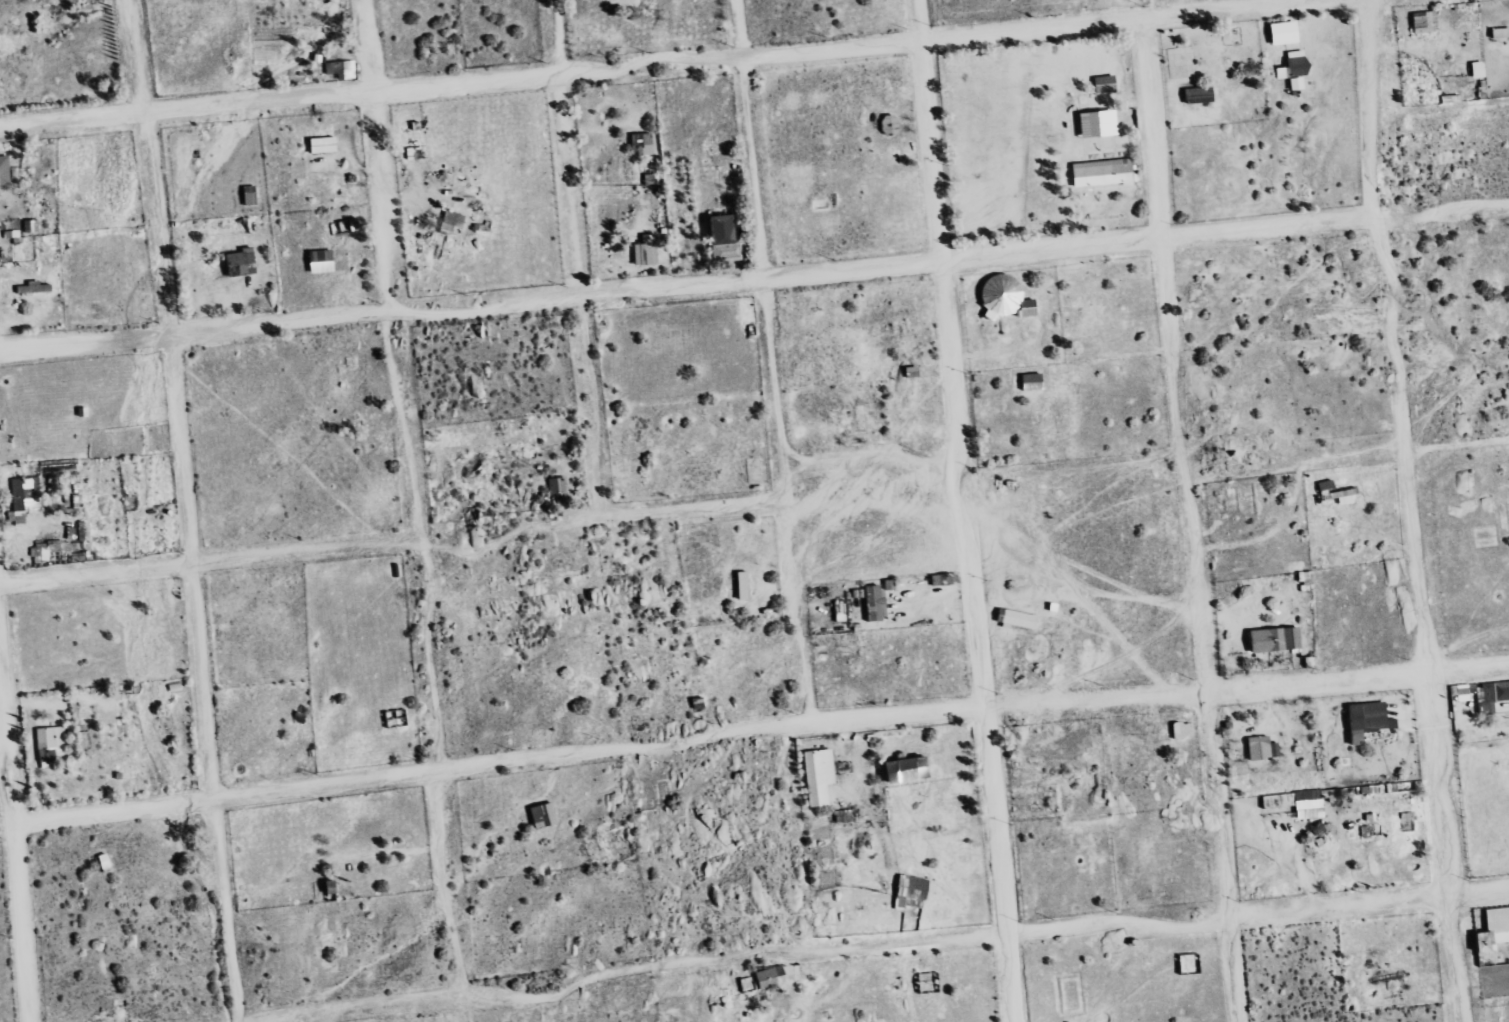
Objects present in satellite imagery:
building: (1422, 22)
building: (1279, 32)
road: (653, 66)
building: (342, 69)
building: (1290, 69)
building: (1474, 69)
building: (1101, 84)
building: (1195, 95)
building: (644, 143)
building: (325, 145)
building: (5, 171)
building: (1099, 173)
building: (251, 195)
building: (454, 222)
building: (726, 238)
building: (647, 252)
road: (575, 258)
building: (243, 263)
road: (754, 280)
building: (1023, 308)
road: (772, 362)
road: (1457, 445)
road: (870, 462)
road: (692, 509)
road: (1411, 509)
road: (183, 510)
road: (414, 511)
road: (962, 511)
road: (1185, 520)
road: (507, 535)
road: (209, 561)
road: (759, 730)
road: (15, 858)

